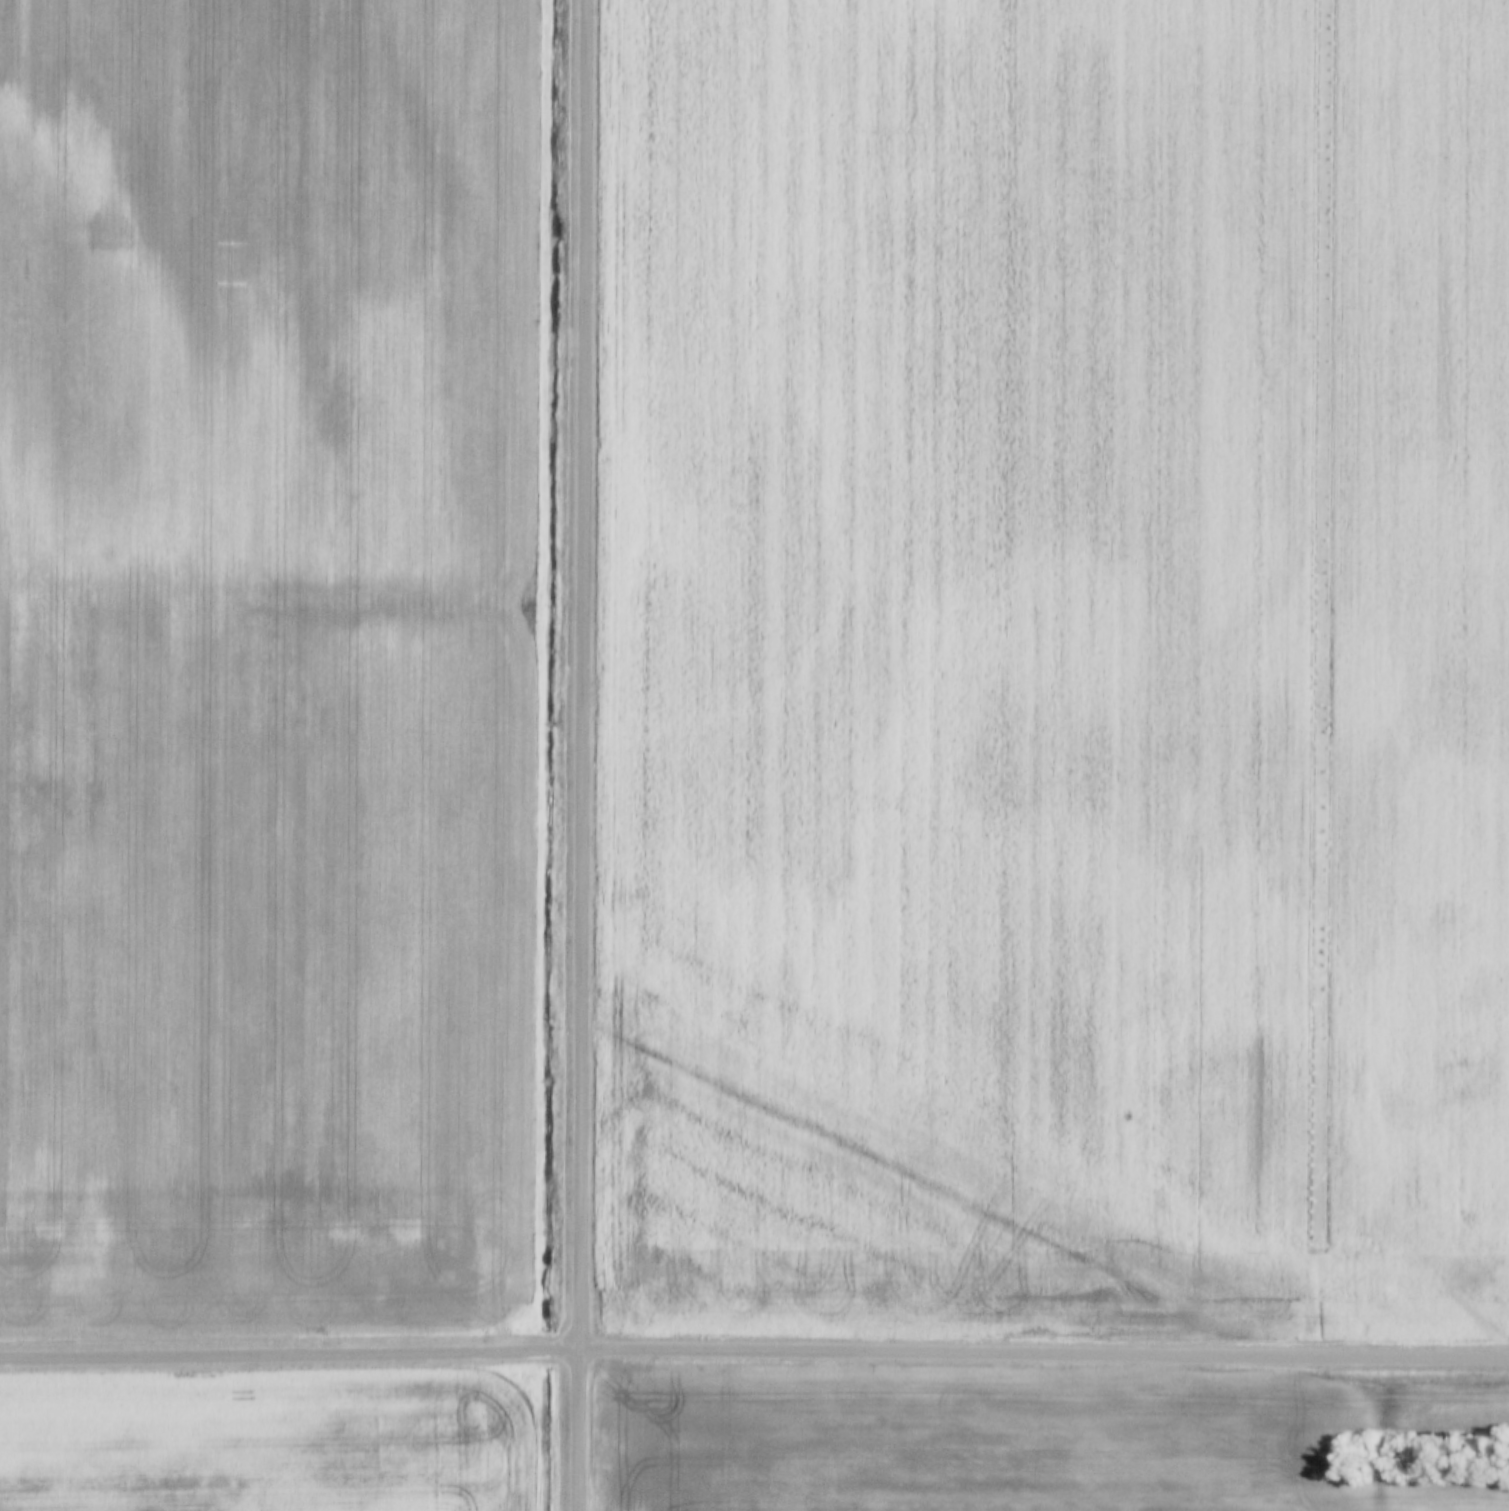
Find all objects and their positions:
road: (580, 755)
road: (754, 1351)

